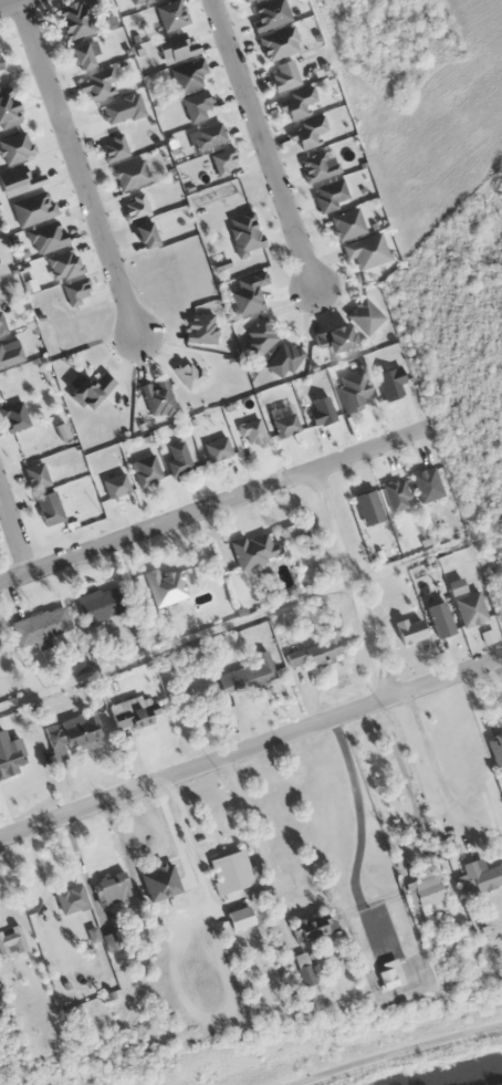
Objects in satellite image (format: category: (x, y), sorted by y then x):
building: (244, 0)
building: (137, 1)
road: (8, 2)
building: (269, 13)
building: (171, 14)
building: (76, 17)
building: (278, 43)
building: (175, 46)
building: (80, 55)
building: (0, 62)
building: (188, 74)
building: (283, 75)
building: (96, 84)
building: (296, 103)
building: (196, 105)
building: (8, 111)
building: (307, 132)
building: (208, 135)
road: (262, 144)
building: (14, 147)
building: (223, 160)
building: (316, 167)
road: (76, 168)
building: (130, 174)
building: (18, 180)
building: (330, 195)
building: (32, 208)
building: (346, 223)
building: (244, 232)
building: (143, 234)
building: (45, 237)
building: (366, 250)
building: (364, 315)
building: (2, 326)
building: (200, 327)
building: (259, 336)
building: (334, 338)
park: (460, 358)
building: (1, 359)
building: (282, 359)
building: (389, 383)
building: (87, 389)
building: (353, 389)
building: (157, 397)
building: (321, 409)
building: (13, 417)
building: (284, 425)
building: (217, 448)
building: (177, 457)
building: (145, 469)
building: (34, 476)
building: (114, 484)
building: (426, 484)
building: (395, 494)
road: (212, 502)
building: (367, 507)
building: (48, 508)
road: (14, 525)
building: (255, 547)
road: (352, 581)
building: (165, 586)
building: (101, 603)
building: (470, 609)
building: (440, 618)
building: (40, 626)
building: (410, 630)
road: (176, 643)
building: (0, 647)
building: (315, 649)
building: (247, 674)
building: (133, 710)
building: (74, 730)
road: (250, 745)
building: (496, 749)
building: (10, 753)
building: (482, 875)
building: (233, 884)
building: (111, 888)
building: (426, 894)
building: (70, 898)
building: (174, 921)
building: (312, 926)
building: (11, 939)
building: (306, 972)
building: (387, 974)
road: (393, 1050)

